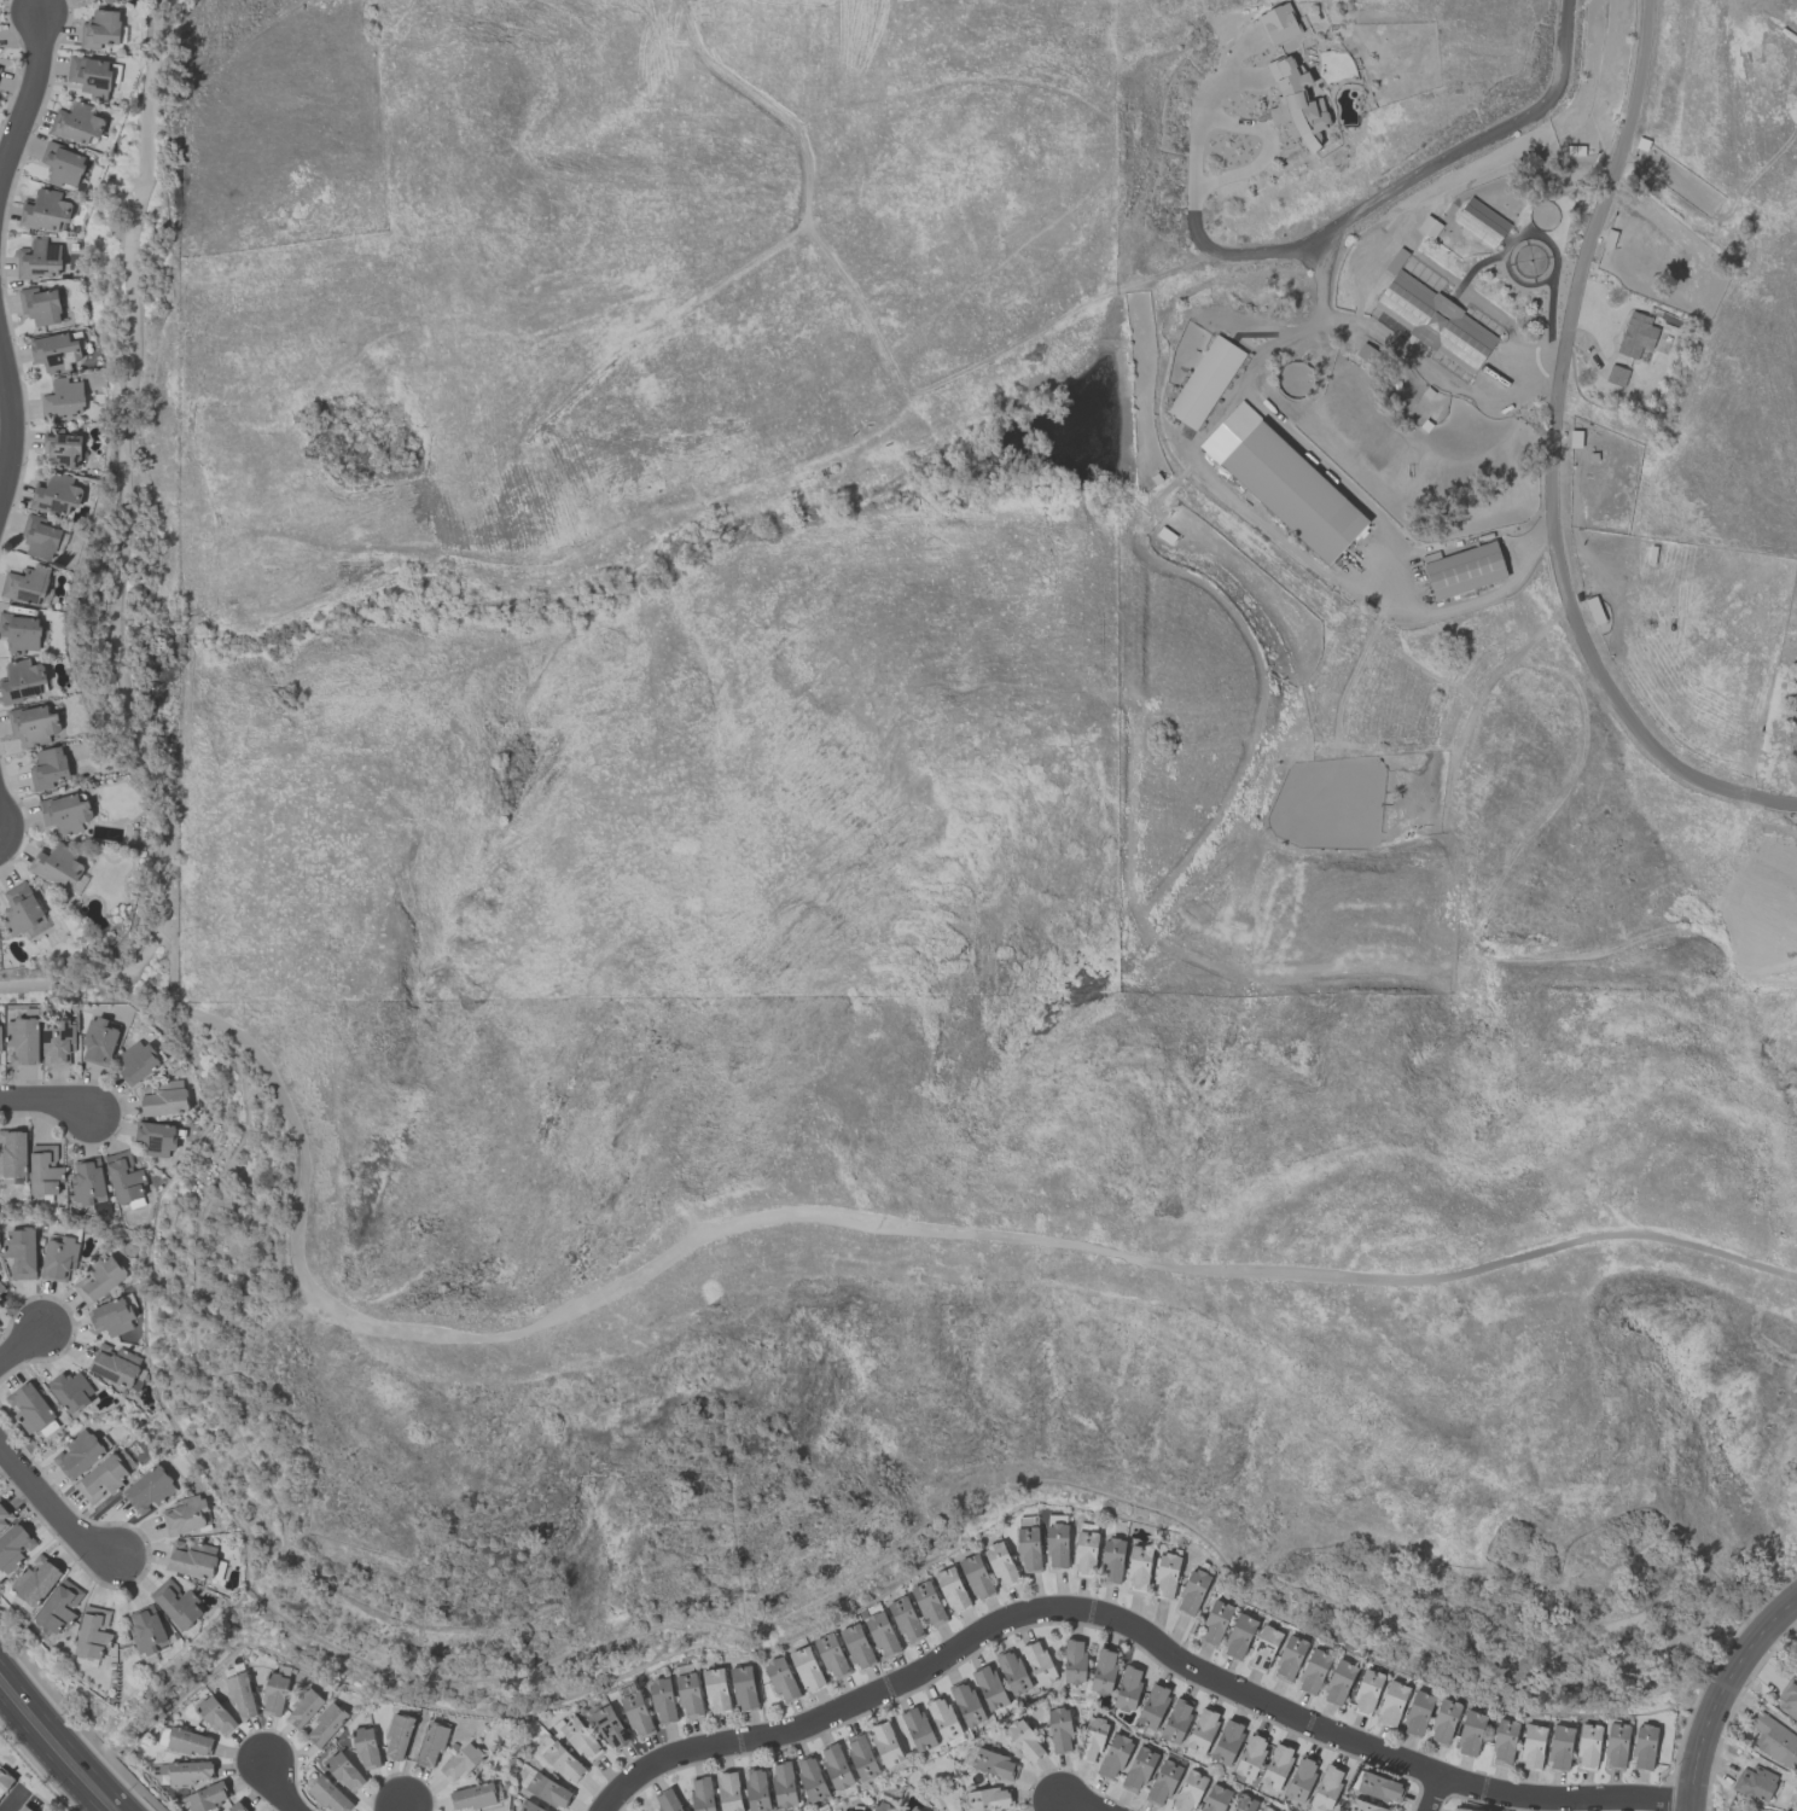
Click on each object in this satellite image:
building: (109, 1)
building: (100, 30)
building: (89, 76)
rooftop solar panel: (100, 85)
road: (29, 87)
building: (1296, 105)
building: (76, 123)
road: (1252, 127)
building: (62, 165)
road: (1401, 185)
building: (46, 211)
building: (1481, 223)
rooftop solar panel: (54, 252)
building: (39, 261)
rooftop solar panel: (42, 270)
building: (40, 307)
building: (1435, 322)
building: (1636, 336)
building: (54, 353)
building: (1616, 375)
building: (1204, 383)
building: (63, 400)
building: (1228, 431)
road: (11, 436)
building: (62, 449)
road: (1553, 458)
building: (1293, 493)
building: (57, 495)
rooftop solar panel: (57, 508)
building: (40, 538)
rooftop solar panel: (1461, 560)
rooftop solar panel: (1494, 564)
rooftop solar panel: (1483, 567)
building: (1464, 571)
rooftop solar panel: (1472, 573)
rooftop solar panel: (1461, 576)
rooftop solar panel: (1448, 578)
rooftop solar panel: (1432, 582)
building: (25, 584)
rooftop solar panel: (1473, 586)
building: (22, 681)
rooftop solar panel: (31, 693)
rooftop solar panel: (17, 698)
building: (34, 724)
building: (48, 769)
road: (6, 822)
building: (58, 867)
building: (21, 909)
road: (93, 976)
rooftop solar panel: (68, 1033)
rooftop solar panel: (47, 1038)
building: (22, 1042)
building: (98, 1042)
building: (58, 1043)
building: (136, 1062)
building: (163, 1099)
road: (47, 1101)
building: (155, 1139)
building: (13, 1153)
building: (45, 1170)
building: (123, 1178)
building: (87, 1183)
building: (21, 1253)
building: (58, 1258)
building: (98, 1280)
building: (1, 1288)
building: (0, 1304)
building: (111, 1317)
road: (384, 1328)
road: (21, 1346)
building: (115, 1364)
building: (70, 1393)
building: (29, 1409)
building: (77, 1454)
building: (101, 1479)
building: (150, 1490)
road: (54, 1509)
building: (5, 1516)
building: (184, 1516)
building: (14, 1547)
building: (1057, 1547)
building: (1028, 1549)
building: (1084, 1554)
building: (192, 1559)
building: (1111, 1561)
building: (1000, 1565)
building: (1139, 1568)
building: (976, 1577)
building: (1165, 1577)
building: (36, 1580)
building: (952, 1590)
building: (1192, 1592)
building: (176, 1605)
building: (927, 1605)
building: (59, 1607)
building: (905, 1619)
building: (1215, 1624)
building: (146, 1631)
building: (92, 1634)
road: (1138, 1634)
building: (882, 1635)
building: (1239, 1636)
rooftop solar panel: (1260, 1643)
rooftop solar panel: (1269, 1644)
building: (856, 1647)
building: (1263, 1648)
building: (831, 1655)
rooftop solar panel: (1258, 1656)
building: (1289, 1659)
building: (1074, 1661)
building: (1039, 1662)
rooftop solar panel: (1267, 1664)
building: (807, 1670)
building: (1012, 1672)
building: (1103, 1672)
building: (1313, 1672)
building: (780, 1679)
building: (1338, 1683)
building: (744, 1688)
building: (989, 1688)
building: (1128, 1689)
building: (715, 1690)
building: (1366, 1693)
building: (273, 1695)
building: (688, 1695)
building: (240, 1696)
road: (1723, 1696)
building: (662, 1701)
building: (1787, 1701)
building: (966, 1704)
building: (1391, 1704)
building: (1152, 1707)
building: (302, 1710)
building: (1418, 1713)
building: (636, 1714)
building: (215, 1716)
building: (943, 1719)
building: (1176, 1720)
building: (1443, 1722)
building: (325, 1725)
building: (610, 1728)
building: (918, 1730)
building: (1059, 1730)
building: (1202, 1731)
building: (1470, 1734)
building: (397, 1736)
building: (580, 1739)
building: (1024, 1741)
building: (1092, 1741)
building: (1774, 1741)
building: (190, 1742)
building: (1227, 1742)
building: (1504, 1742)
building: (885, 1745)
building: (431, 1746)
building: (1616, 1746)
building: (1533, 1747)
building: (1588, 1747)
building: (1644, 1747)
road: (56, 1748)
building: (366, 1748)
building: (1560, 1748)
building: (861, 1757)
building: (1113, 1757)
building: (1250, 1757)
building: (460, 1763)
building: (563, 1763)
building: (994, 1765)
building: (1276, 1766)
building: (836, 1768)
building: (1138, 1770)
building: (186, 1772)
building: (344, 1772)
building: (810, 1778)
building: (1301, 1780)
building: (4, 1782)
building: (1163, 1782)
building: (1754, 1783)
building: (783, 1784)
building: (1327, 1788)
building: (1379, 1788)
road: (275, 1789)
building: (548, 1790)
building: (756, 1790)
building: (728, 1792)
building: (1188, 1792)
building: (702, 1794)
building: (328, 1795)
road: (1436, 1795)
building: (208, 1798)
building: (472, 1798)
building: (989, 1799)
building: (1215, 1799)
road: (14, 1801)
building: (667, 1801)
building: (1243, 1804)
building: (237, 1806)
road: (1075, 1806)
building: (1362, 1806)
building: (528, 1807)
building: (882, 1807)
building: (23, 1809)
road: (401, 1809)
building: (1263, 1809)
building: (914, 1810)
building: (1460, 1810)

